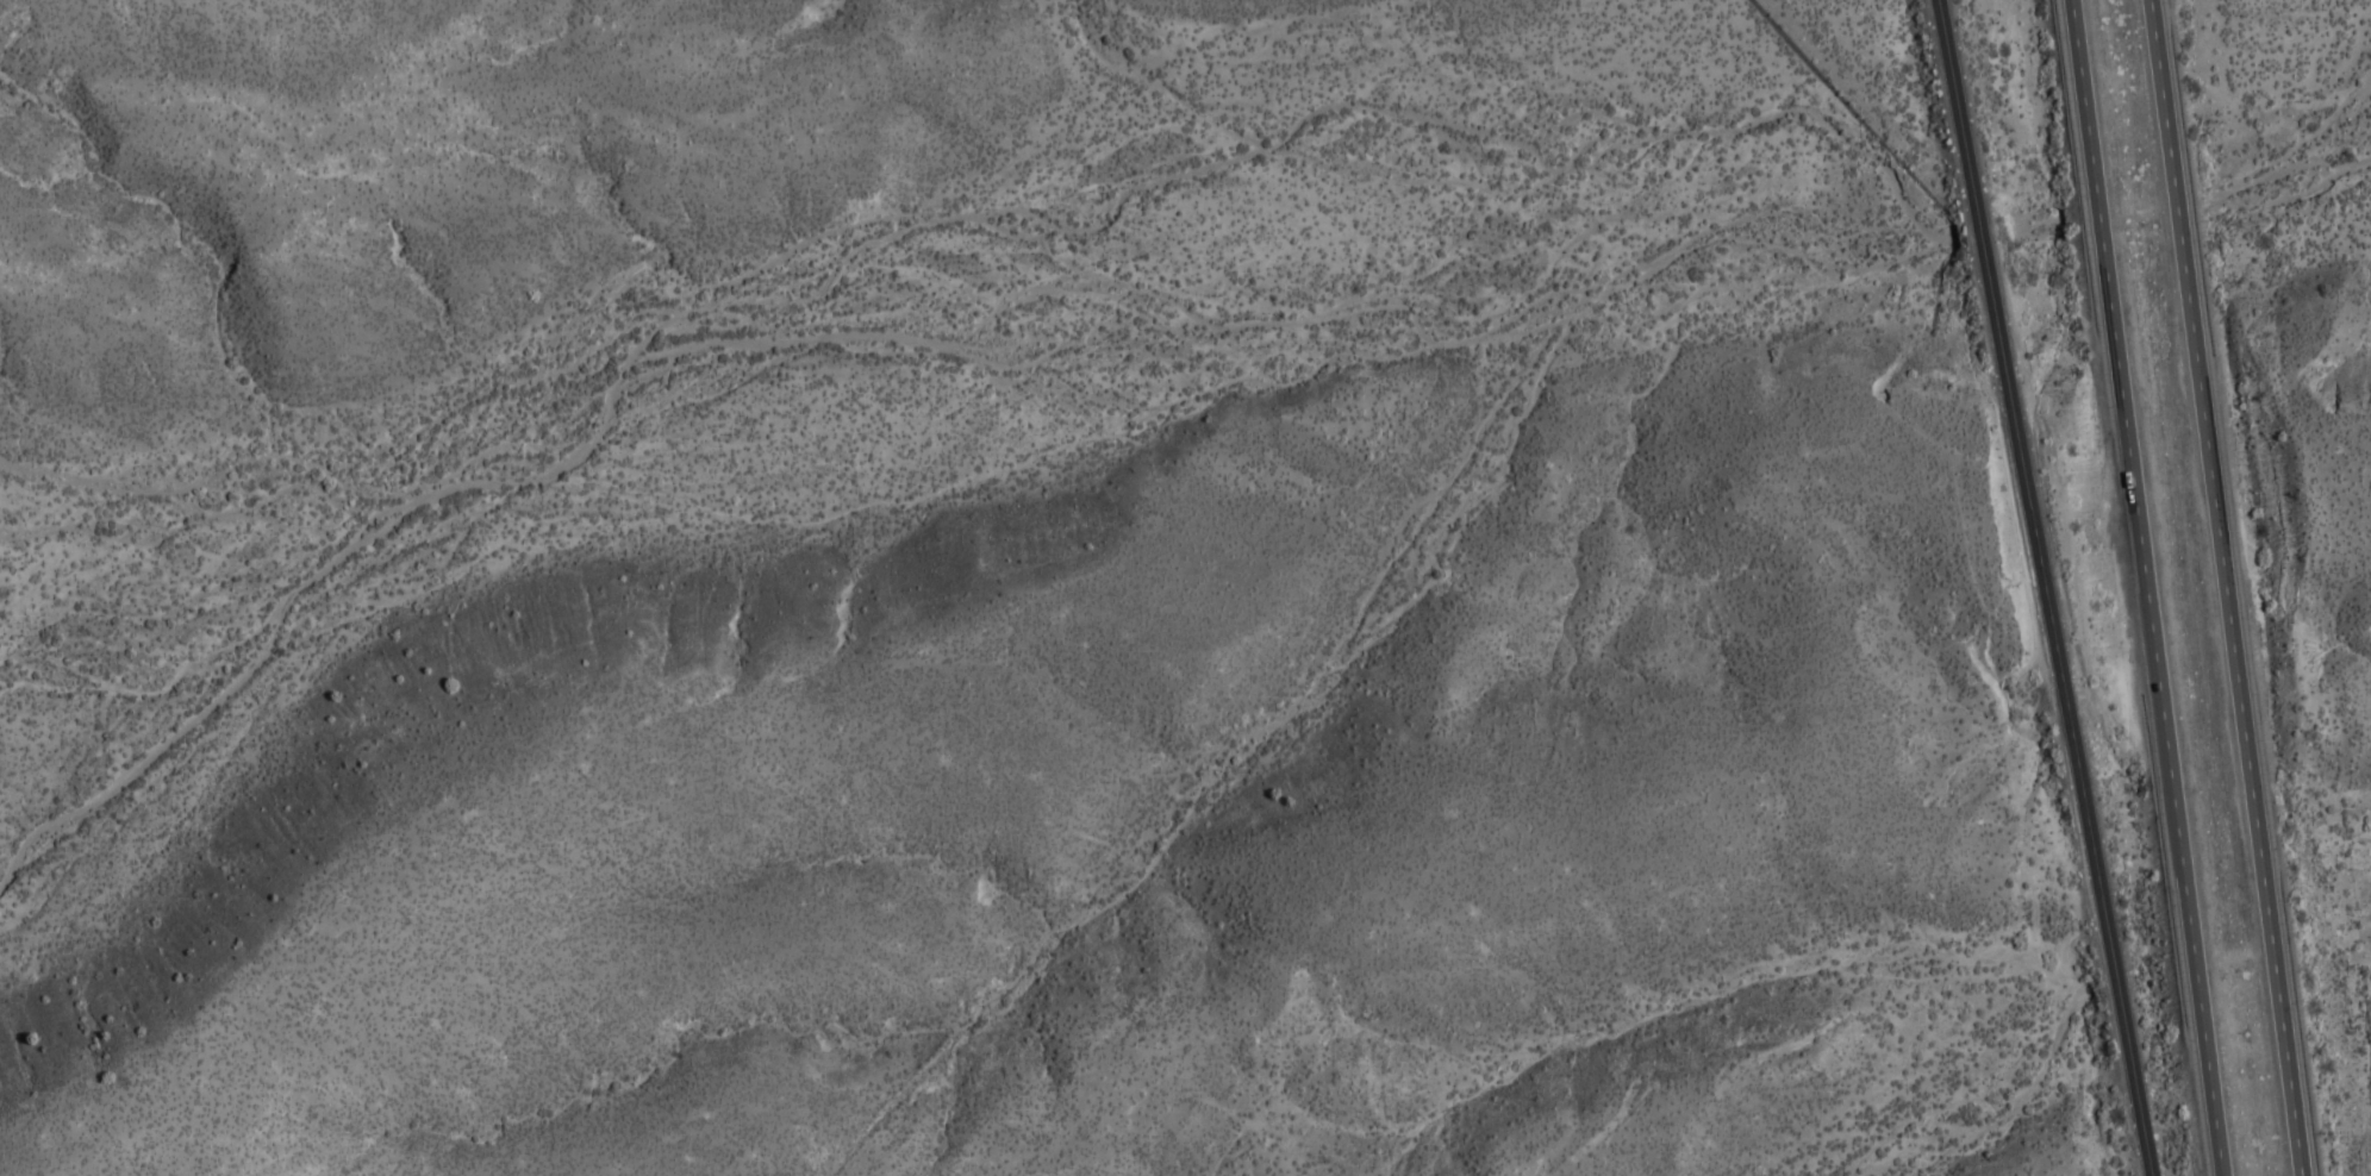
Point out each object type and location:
road: (2048, 587)
road: (2142, 587)
road: (2222, 587)

